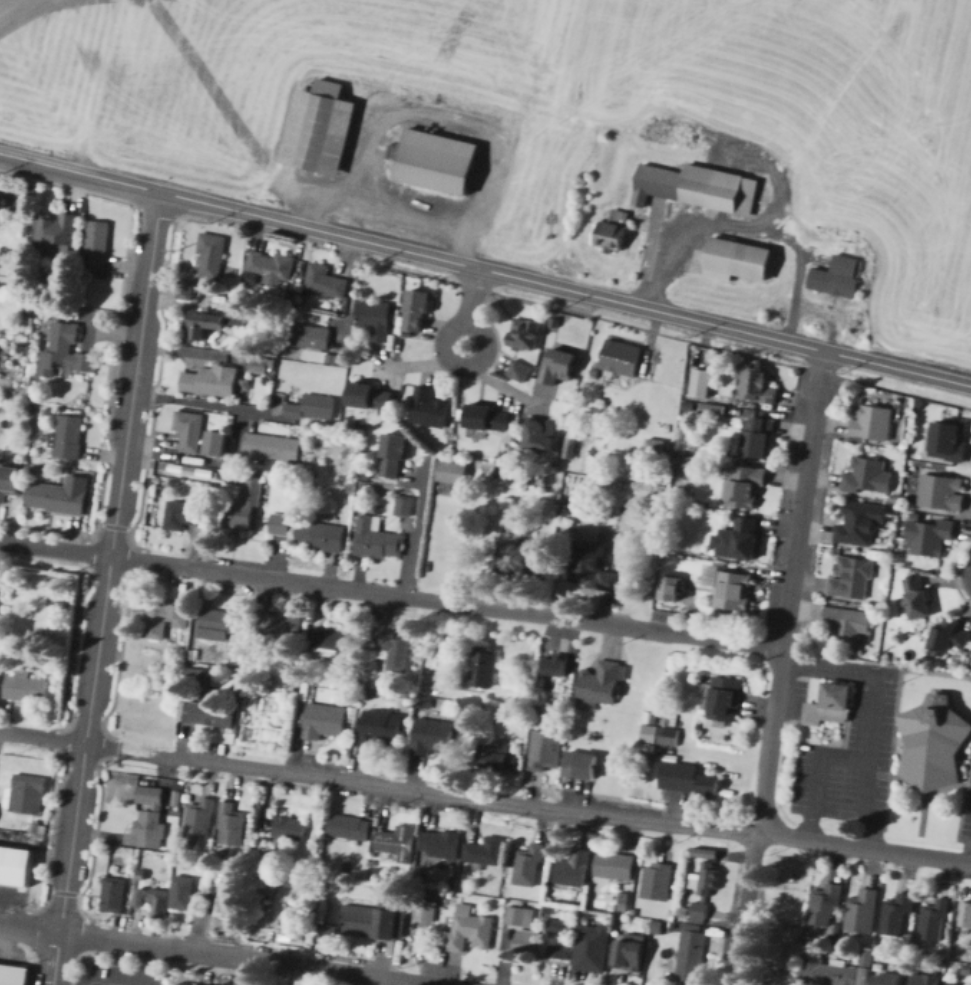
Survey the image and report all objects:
road: (81, 6)
road: (876, 7)
road: (149, 16)
park: (946, 31)
road: (530, 48)
road: (941, 48)
road: (909, 50)
road: (720, 59)
road: (151, 82)
road: (205, 84)
road: (178, 95)
road: (158, 98)
road: (390, 108)
building: (324, 125)
road: (674, 131)
road: (510, 135)
road: (161, 153)
building: (444, 159)
road: (77, 172)
road: (871, 175)
building: (699, 185)
building: (1, 189)
building: (33, 192)
road: (676, 216)
building: (615, 229)
building: (26, 230)
building: (55, 231)
building: (96, 245)
building: (211, 254)
building: (742, 258)
building: (271, 263)
building: (841, 274)
building: (323, 279)
road: (563, 287)
road: (353, 288)
building: (185, 290)
building: (292, 296)
building: (306, 296)
building: (418, 308)
road: (472, 308)
building: (29, 309)
building: (54, 309)
building: (237, 314)
building: (376, 320)
building: (554, 321)
building: (200, 324)
building: (526, 334)
building: (310, 336)
building: (25, 347)
building: (64, 350)
building: (618, 357)
building: (333, 359)
road: (425, 363)
building: (557, 364)
building: (260, 365)
building: (520, 371)
building: (211, 382)
road: (498, 383)
building: (699, 383)
building: (246, 384)
building: (759, 384)
building: (371, 397)
building: (875, 400)
road: (206, 403)
building: (501, 404)
building: (509, 404)
building: (917, 404)
building: (428, 406)
building: (689, 406)
building: (310, 407)
building: (708, 408)
building: (31, 410)
building: (47, 412)
building: (486, 416)
building: (519, 418)
building: (873, 421)
building: (191, 429)
building: (542, 435)
road: (240, 436)
building: (67, 437)
building: (757, 438)
building: (949, 440)
building: (220, 444)
building: (265, 445)
building: (655, 446)
building: (902, 446)
building: (571, 447)
building: (671, 449)
building: (320, 450)
building: (391, 456)
building: (505, 457)
building: (687, 467)
building: (453, 472)
building: (311, 474)
building: (231, 475)
building: (366, 475)
building: (870, 476)
building: (509, 477)
building: (88, 478)
building: (8, 482)
building: (363, 486)
building: (744, 486)
building: (941, 492)
building: (57, 498)
road: (804, 498)
building: (401, 501)
building: (360, 507)
building: (572, 507)
building: (236, 508)
building: (183, 514)
building: (913, 516)
building: (861, 522)
building: (278, 524)
road: (418, 527)
building: (318, 536)
building: (928, 536)
building: (515, 537)
building: (376, 538)
building: (738, 539)
road: (56, 549)
building: (887, 551)
building: (528, 561)
building: (595, 565)
building: (854, 579)
road: (107, 588)
building: (671, 588)
building: (733, 591)
building: (692, 596)
building: (916, 597)
road: (447, 602)
building: (59, 606)
building: (165, 617)
building: (222, 620)
building: (277, 624)
building: (846, 624)
building: (950, 637)
building: (335, 642)
building: (395, 652)
building: (194, 655)
building: (884, 656)
building: (554, 664)
building: (301, 665)
building: (48, 666)
building: (484, 667)
building: (200, 677)
building: (26, 686)
building: (293, 686)
building: (600, 686)
building: (370, 695)
building: (723, 698)
parking lot: (795, 699)
road: (788, 700)
building: (424, 701)
building: (476, 706)
building: (829, 706)
building: (209, 712)
road: (874, 715)
building: (649, 717)
building: (324, 721)
building: (674, 721)
building: (380, 728)
building: (650, 733)
building: (670, 734)
building: (431, 736)
road: (43, 737)
building: (933, 743)
road: (103, 745)
road: (133, 749)
building: (546, 749)
building: (501, 757)
building: (686, 758)
parking lot: (852, 759)
building: (582, 765)
road: (819, 777)
building: (686, 779)
building: (709, 784)
building: (661, 792)
building: (29, 793)
road: (558, 809)
parking lot: (967, 815)
road: (763, 816)
building: (149, 818)
building: (199, 818)
building: (232, 824)
building: (34, 827)
building: (349, 827)
building: (289, 828)
building: (397, 840)
building: (442, 844)
building: (486, 851)
building: (708, 852)
building: (15, 865)
building: (614, 865)
building: (528, 867)
building: (574, 870)
building: (142, 874)
building: (272, 875)
building: (707, 878)
building: (655, 881)
building: (676, 885)
building: (113, 893)
building: (183, 893)
building: (152, 900)
building: (230, 902)
building: (623, 902)
building: (824, 904)
building: (425, 911)
building: (551, 911)
building: (636, 911)
building: (698, 911)
building: (899, 911)
building: (863, 912)
building: (965, 914)
building: (522, 915)
building: (934, 921)
building: (374, 922)
building: (648, 922)
building: (619, 924)
building: (674, 925)
building: (659, 926)
road: (31, 927)
building: (469, 929)
building: (332, 930)
building: (301, 934)
building: (527, 938)
building: (560, 940)
road: (161, 945)
building: (592, 949)
building: (814, 953)
building: (867, 954)
building: (629, 955)
building: (688, 958)
building: (965, 970)
road: (354, 972)
road: (285, 974)
building: (13, 975)
parking lot: (123, 975)
building: (833, 975)
building: (863, 977)
building: (924, 978)
building: (887, 979)
road: (78, 981)
road: (93, 984)
building: (181, 984)
building: (952, 984)

